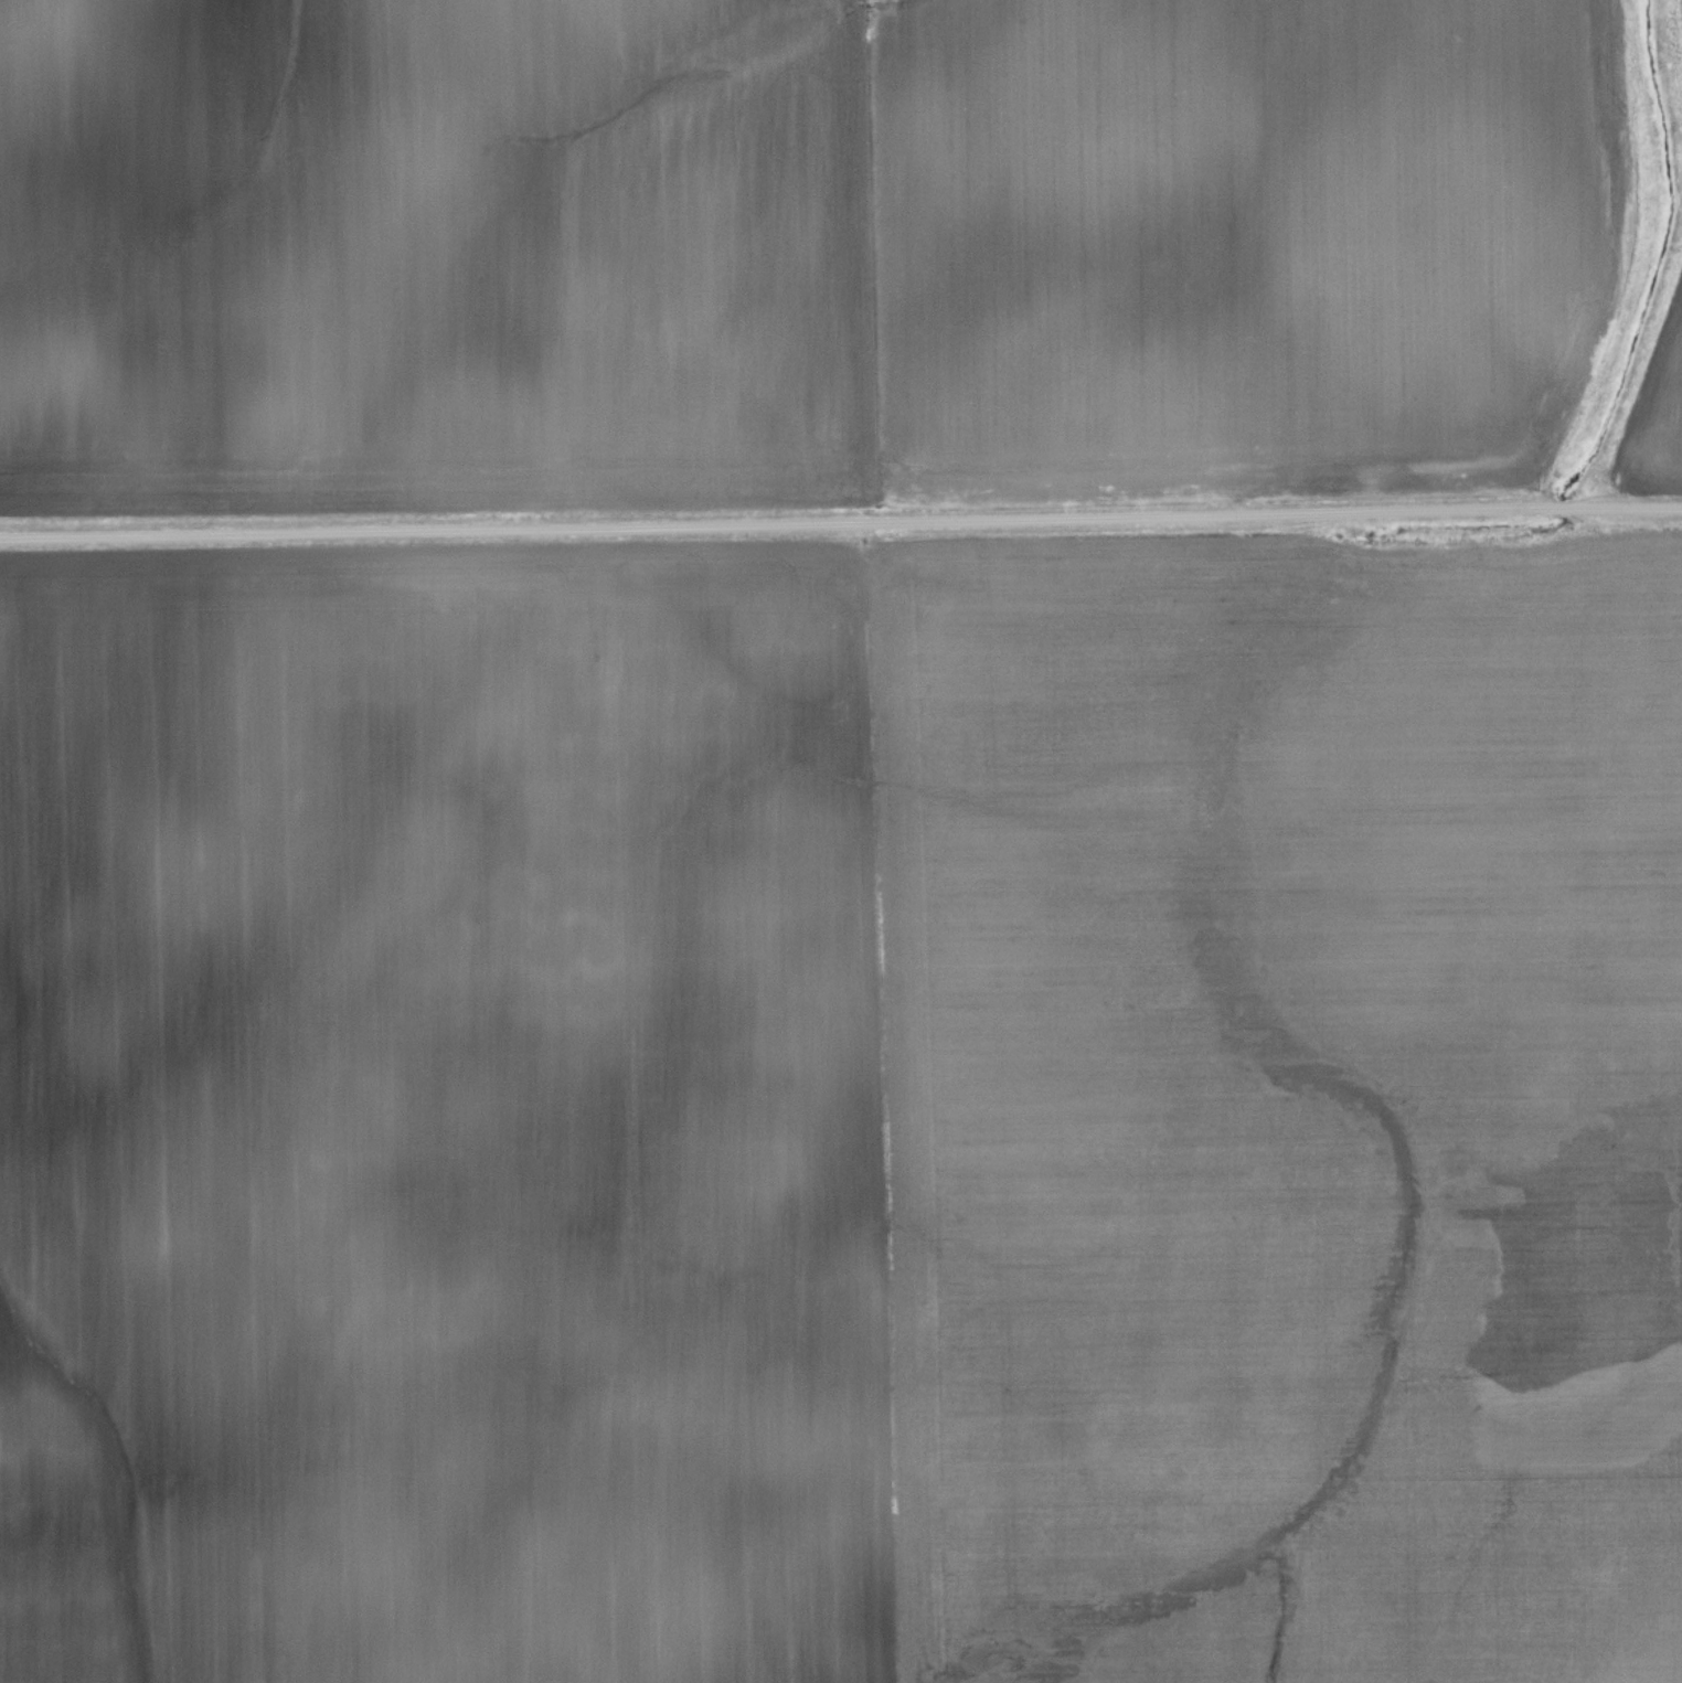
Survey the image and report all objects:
crop: (792, 248)
crop: (1656, 414)
road: (840, 520)
crop: (842, 1112)

